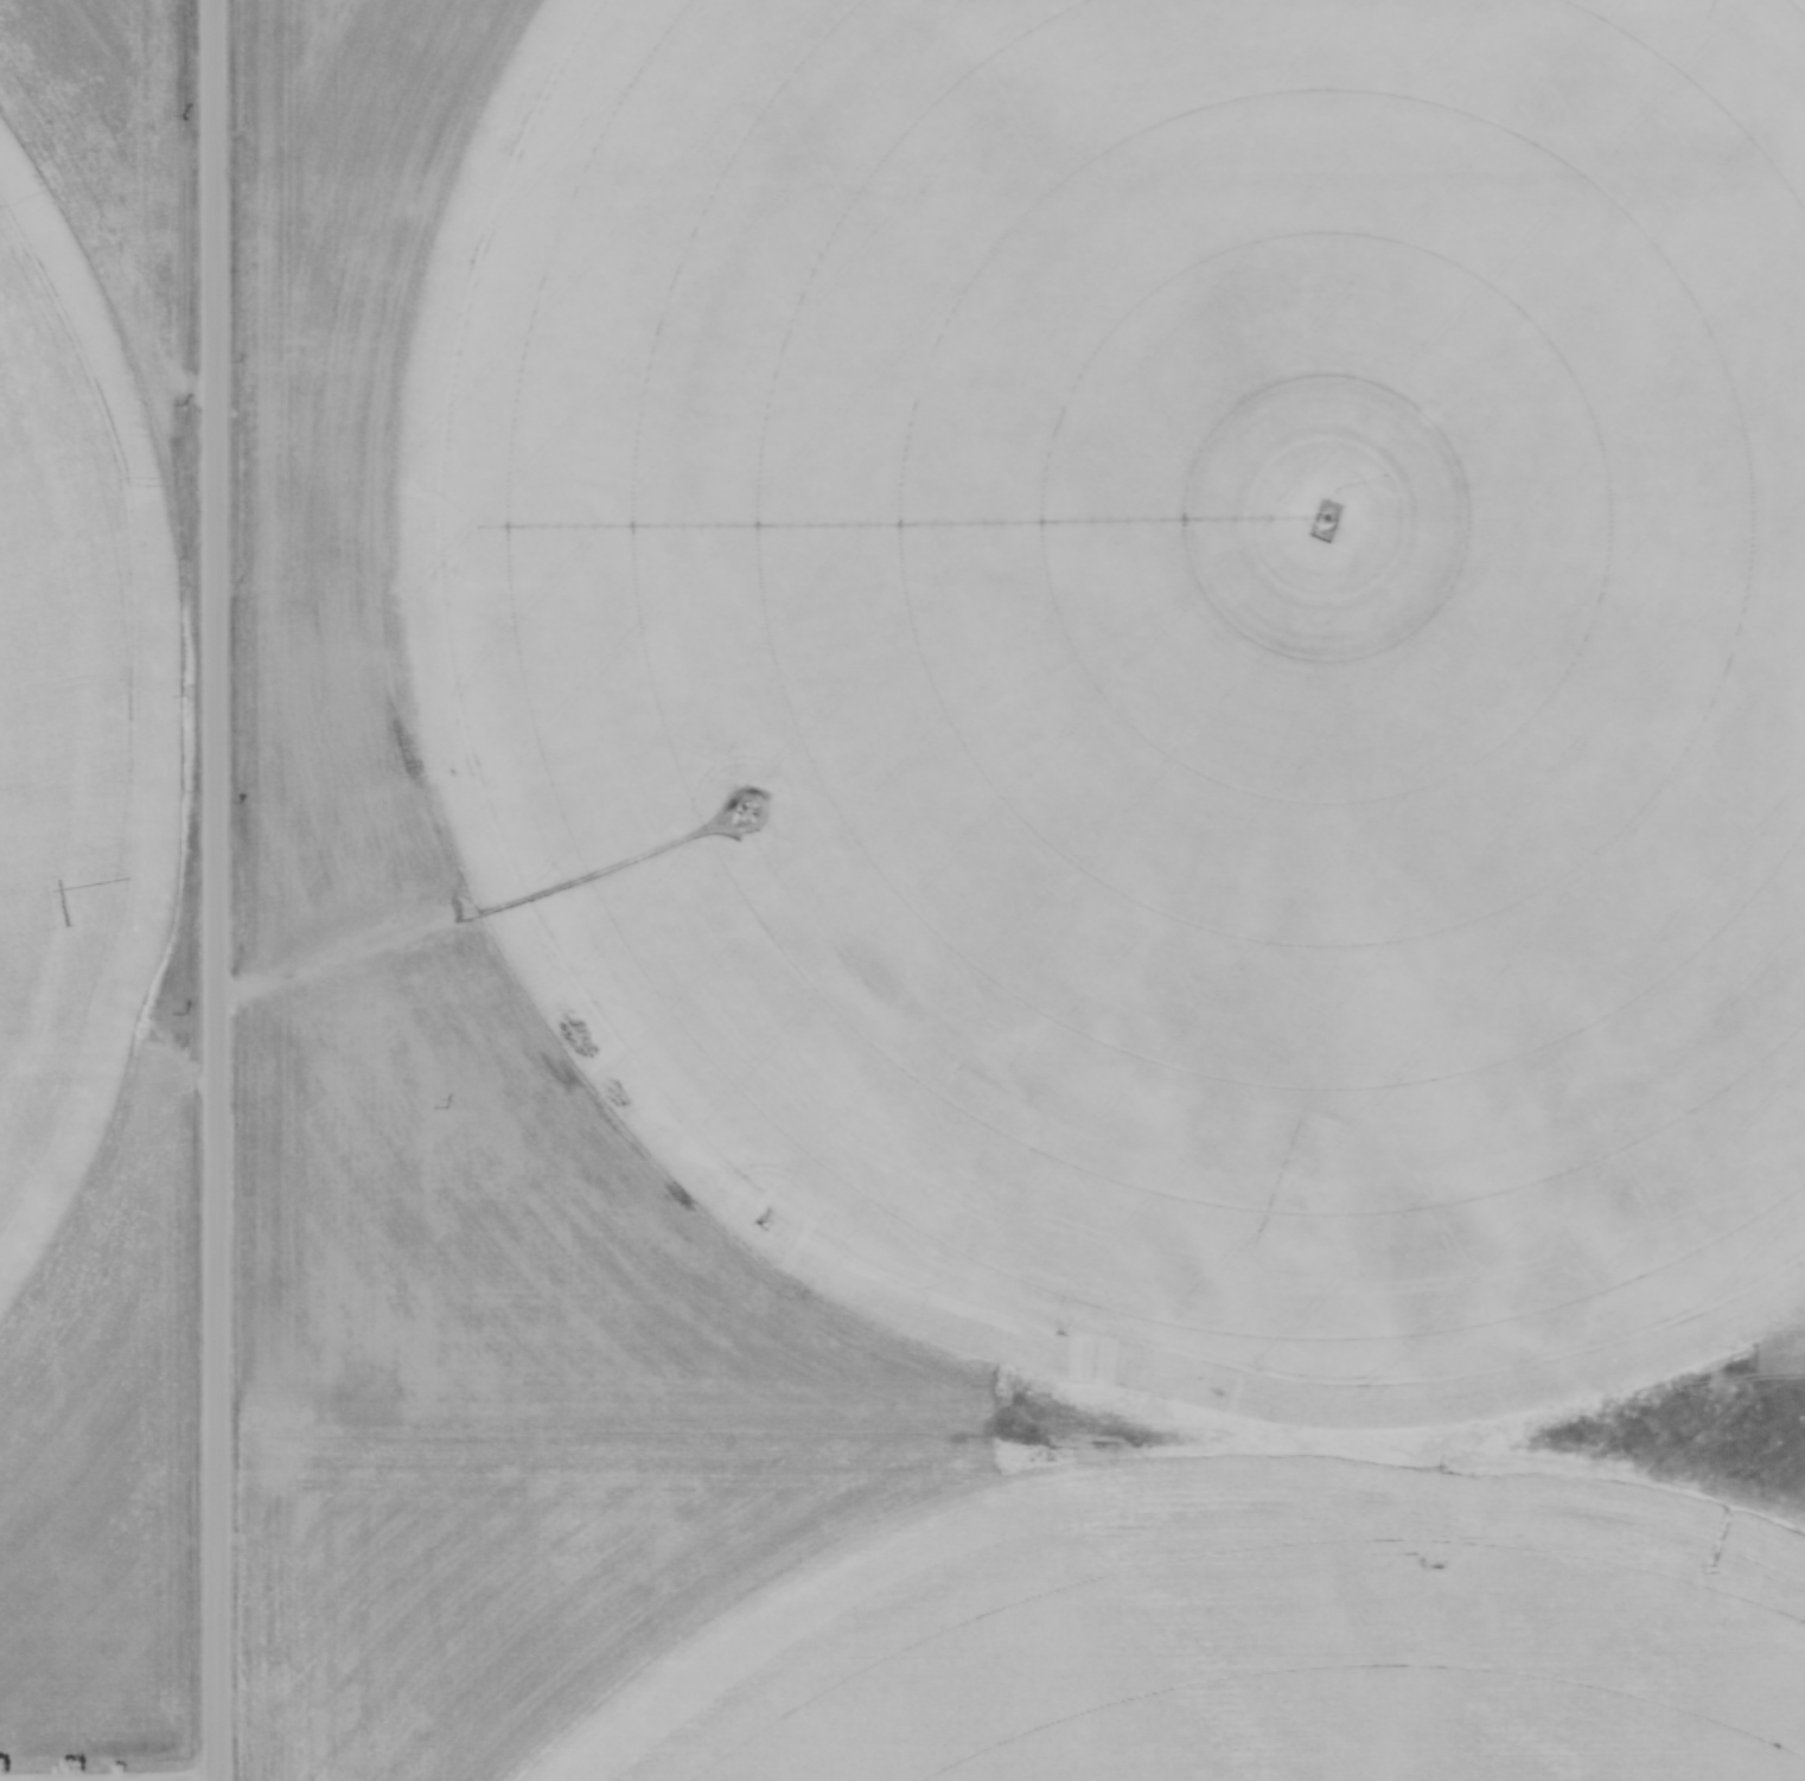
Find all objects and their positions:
road: (212, 889)

